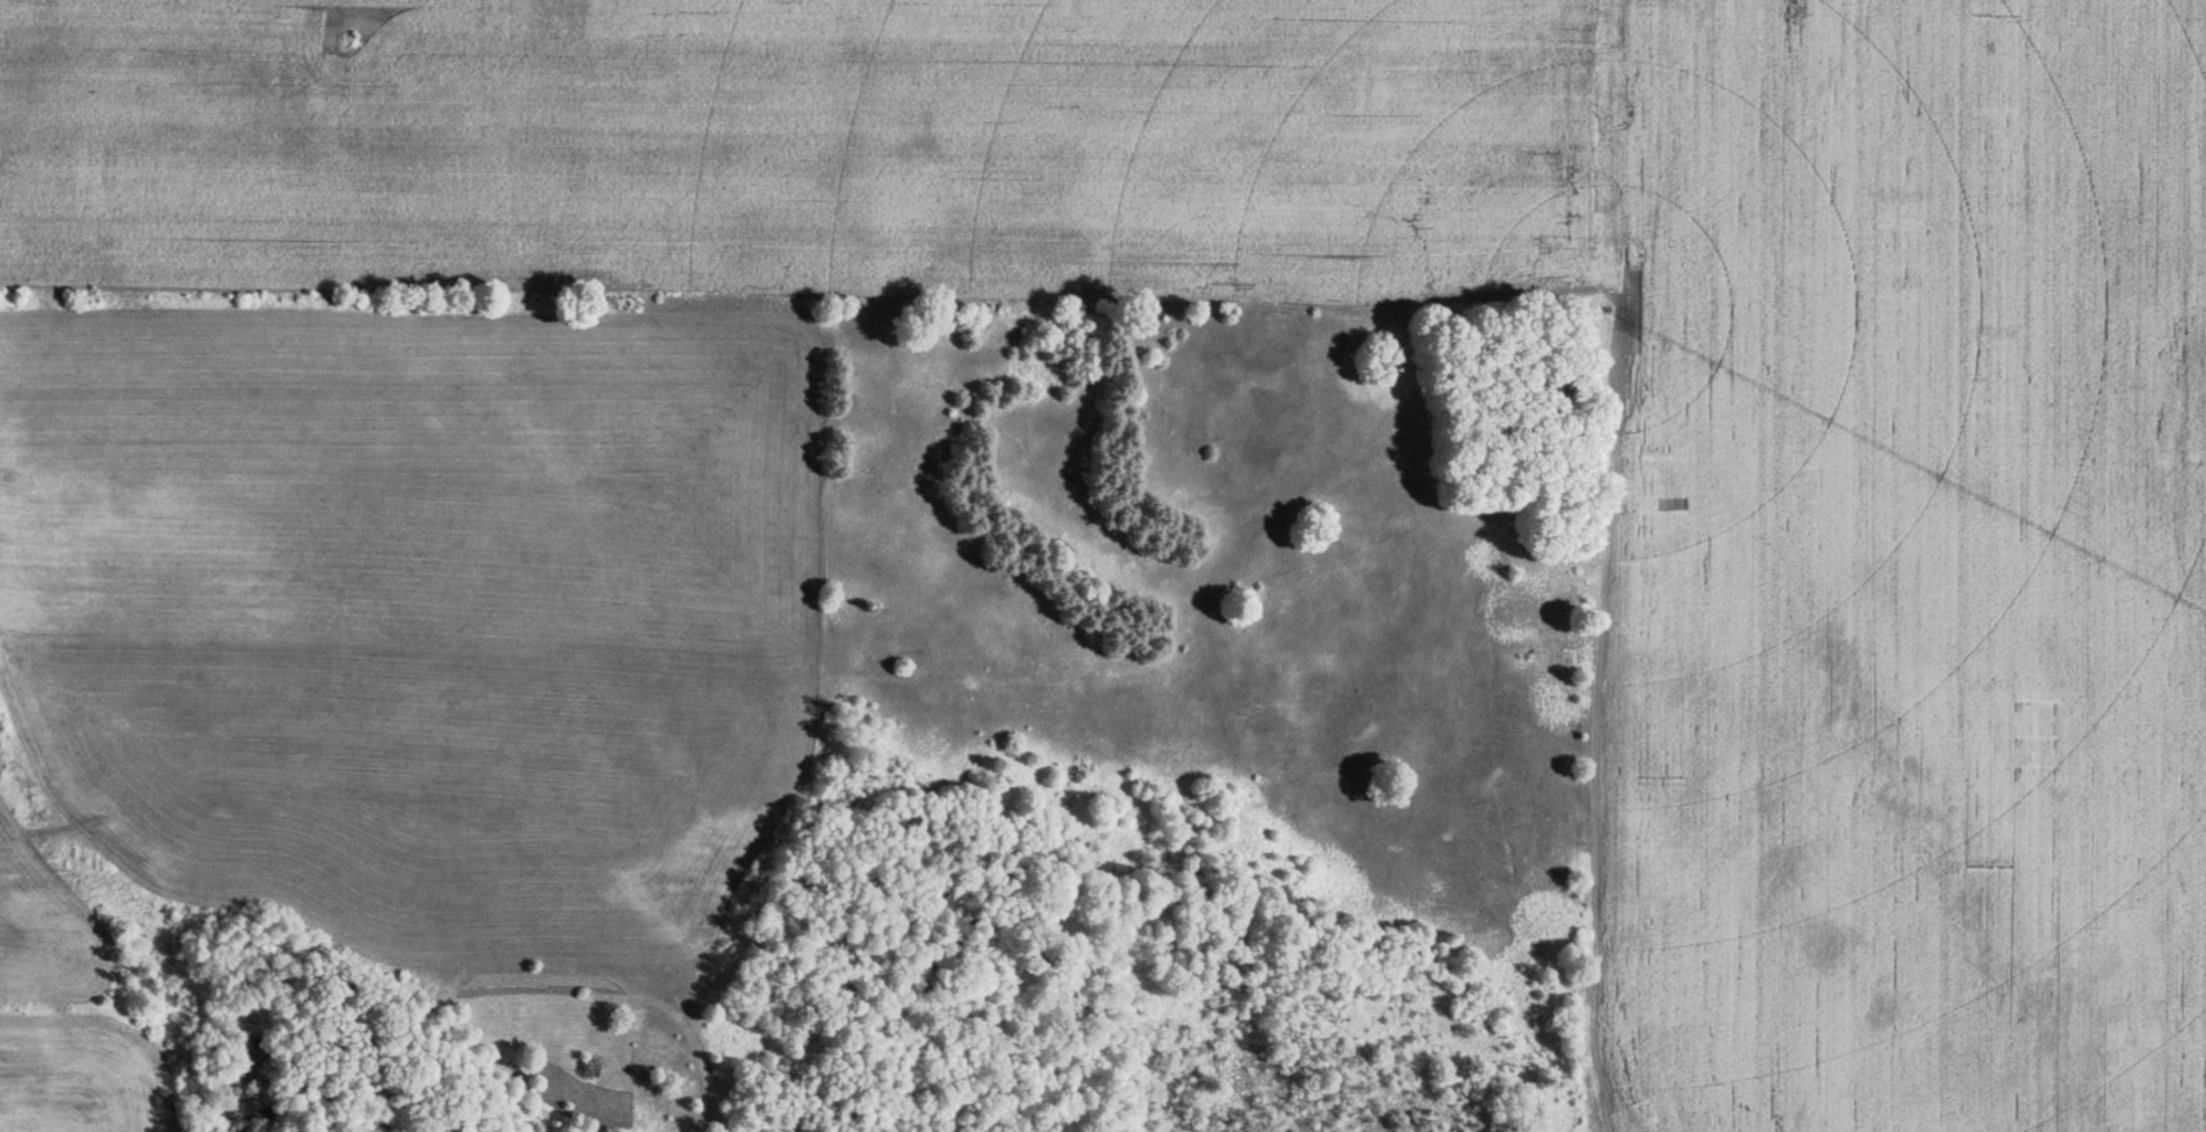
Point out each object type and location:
crop: (1900, 714)

